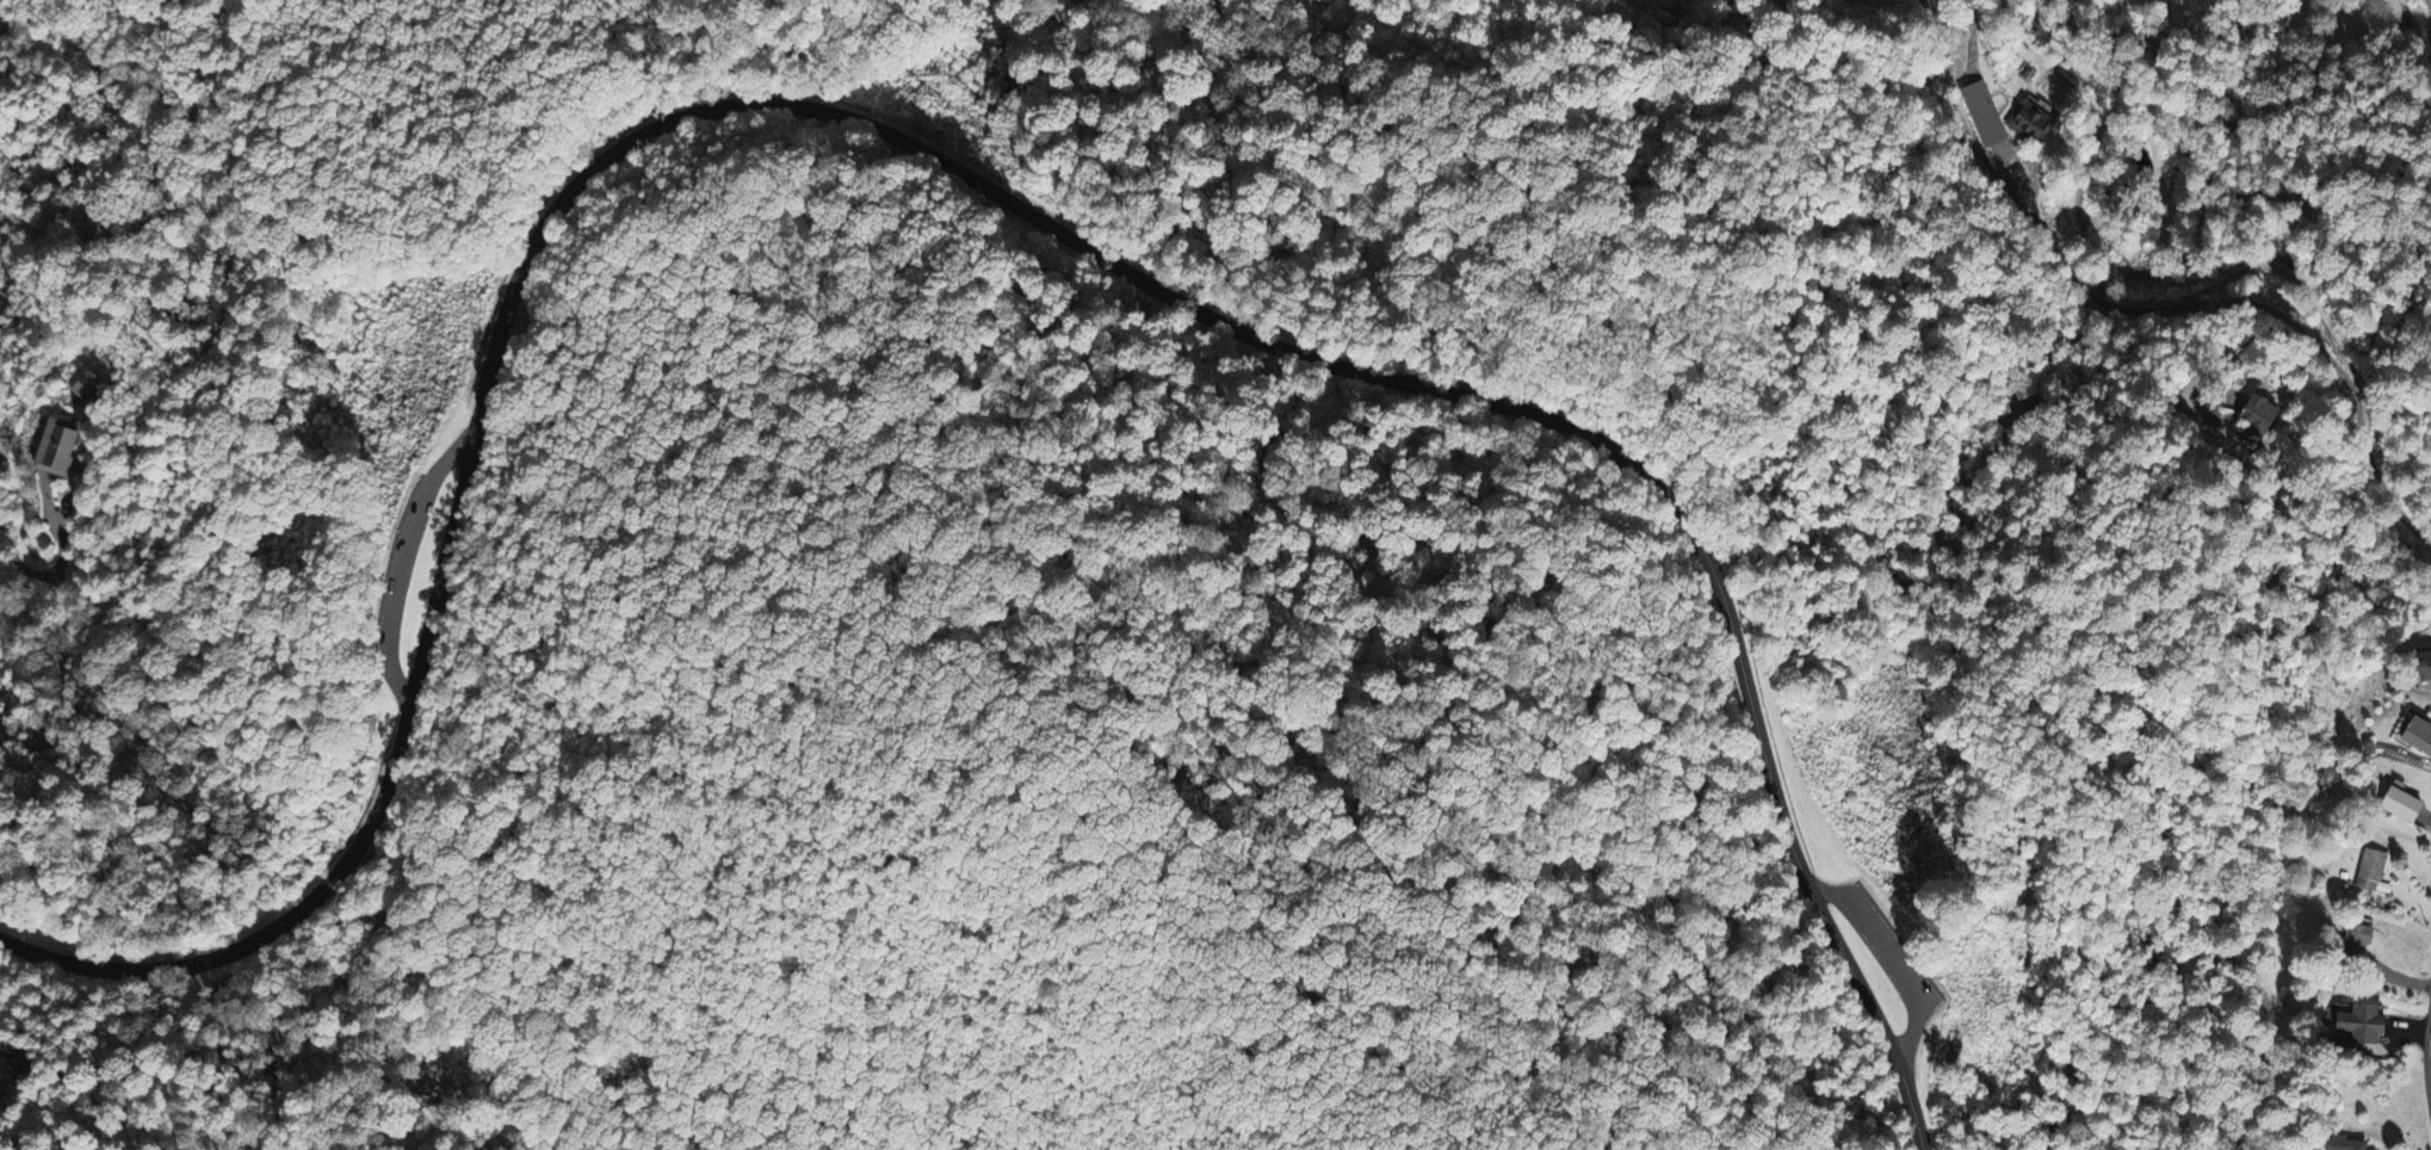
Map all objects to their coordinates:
road: (945, 166)
road: (2327, 327)
building: (88, 387)
building: (2259, 416)
building: (61, 450)
road: (333, 580)
road: (47, 614)
parking lot: (307, 623)
road: (1136, 633)
building: (2415, 736)
building: (2402, 804)
building: (2373, 870)
road: (1881, 946)
parking lot: (1886, 959)
building: (2363, 1032)
building: (2346, 1144)
road: (16, 1145)

